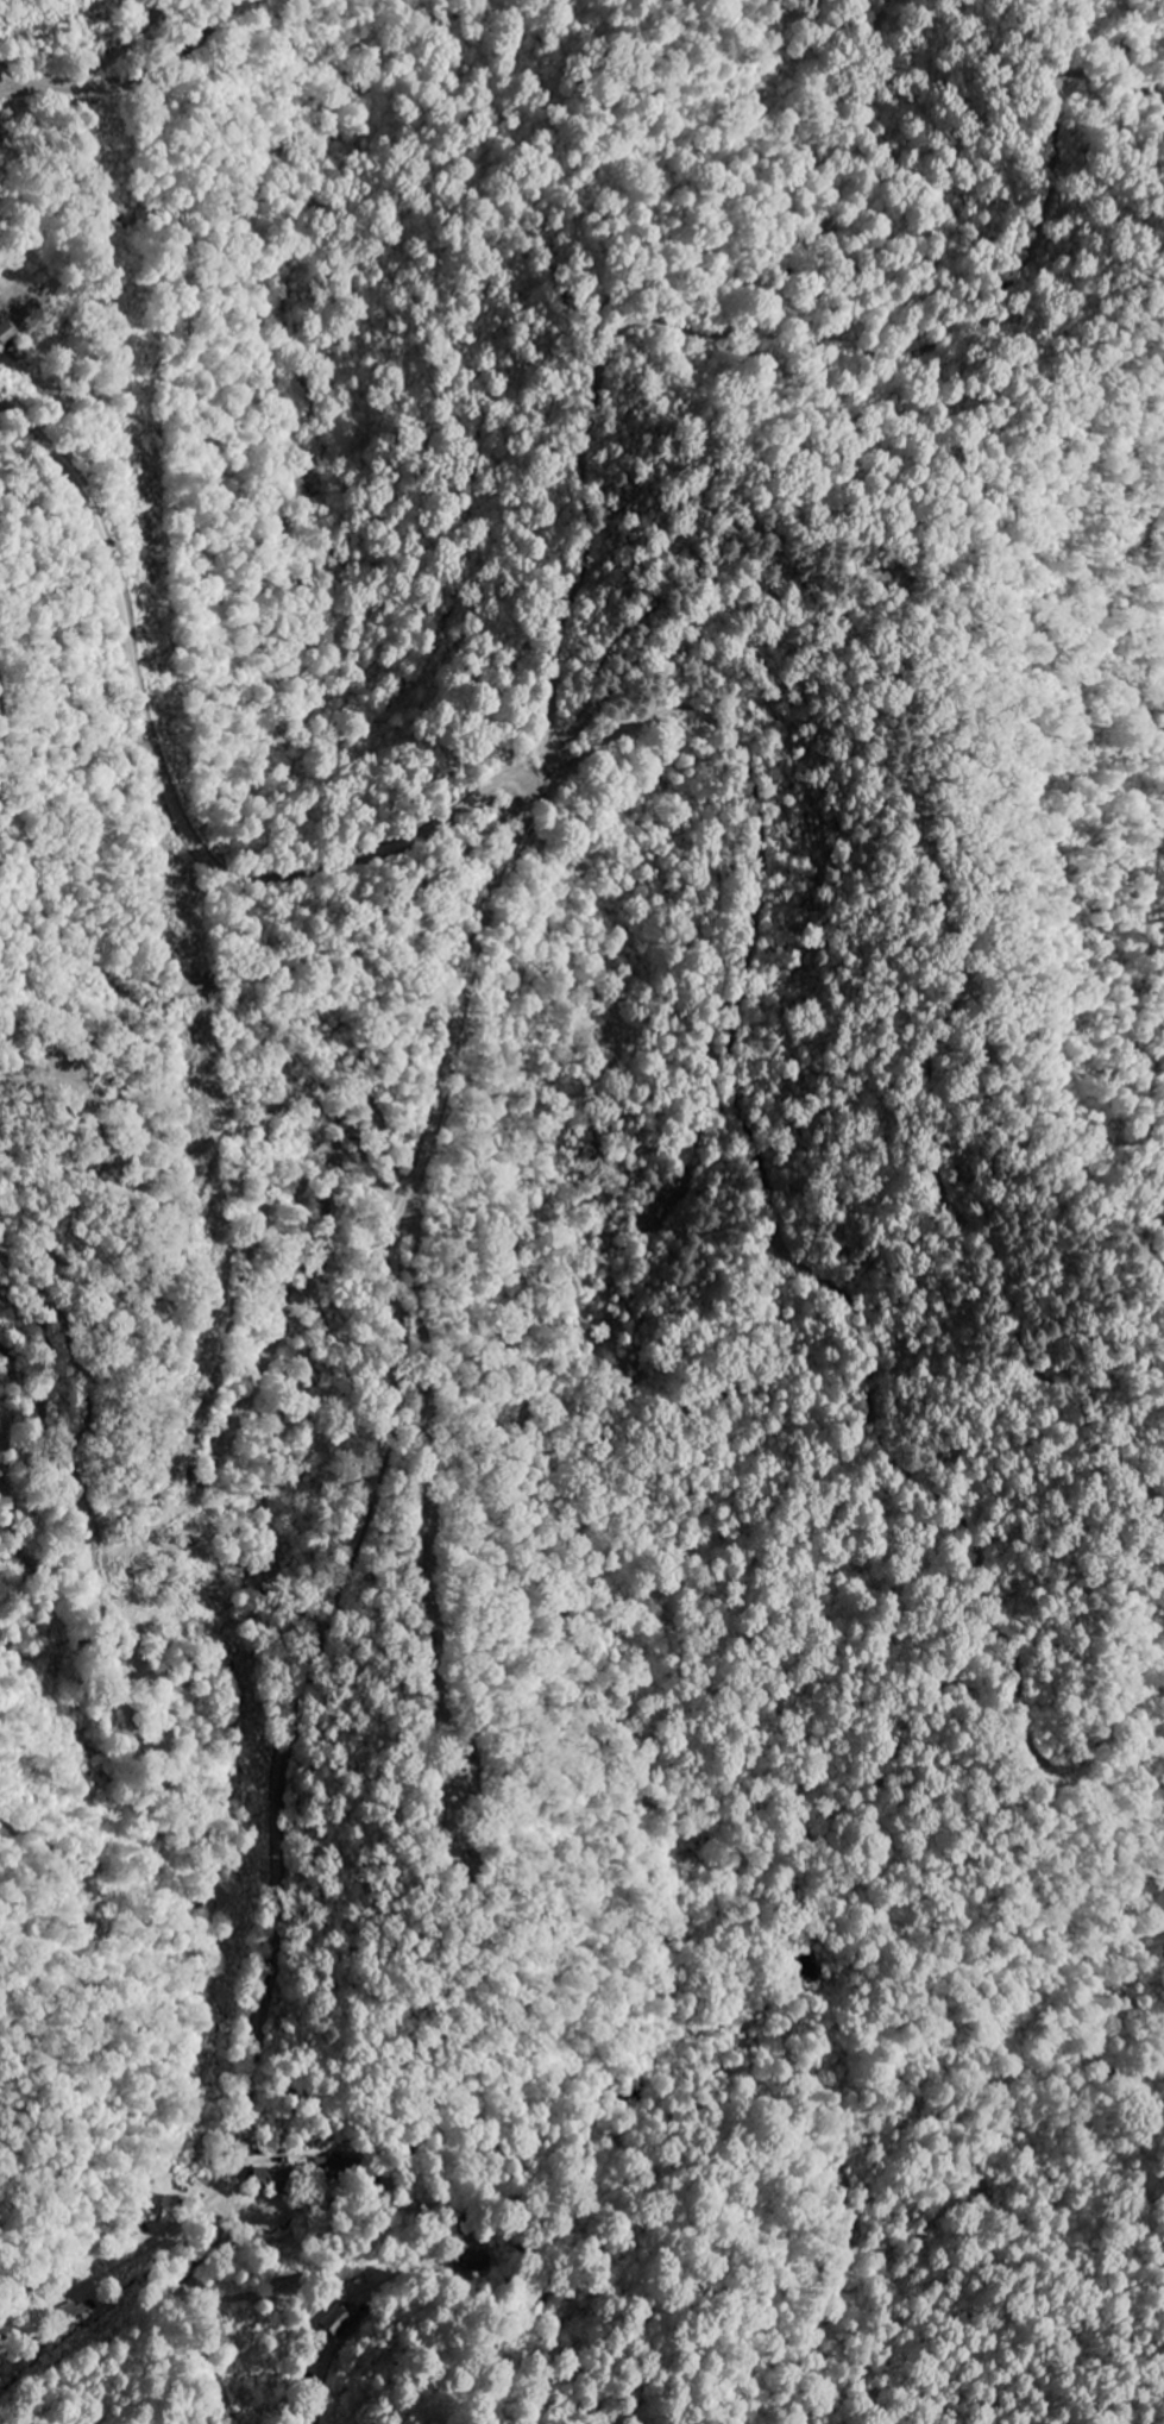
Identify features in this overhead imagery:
road: (132, 81)
building: (6, 334)
road: (472, 950)
road: (414, 1277)
road: (254, 1886)
building: (331, 2171)
road: (77, 2281)
building: (340, 2318)
road: (163, 2332)

